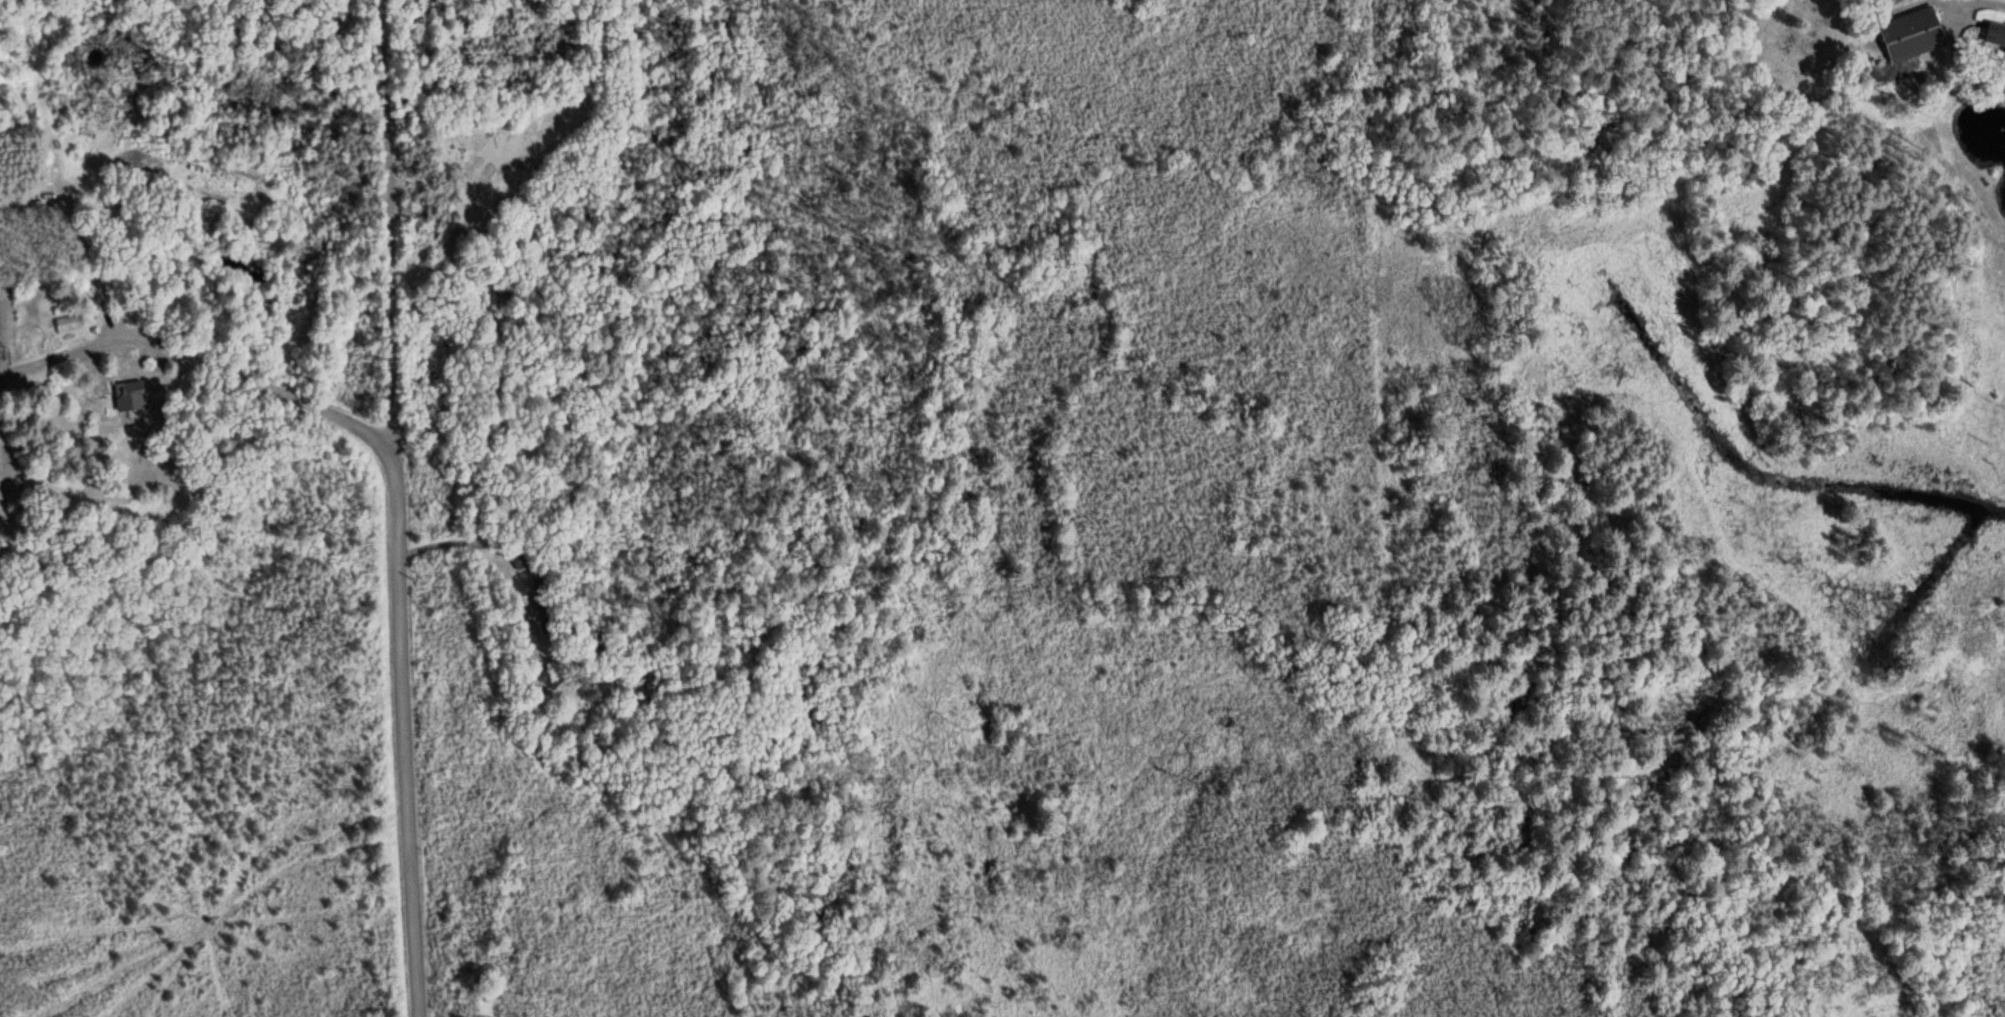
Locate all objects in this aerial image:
road: (395, 223)
road: (397, 521)
road: (495, 554)

